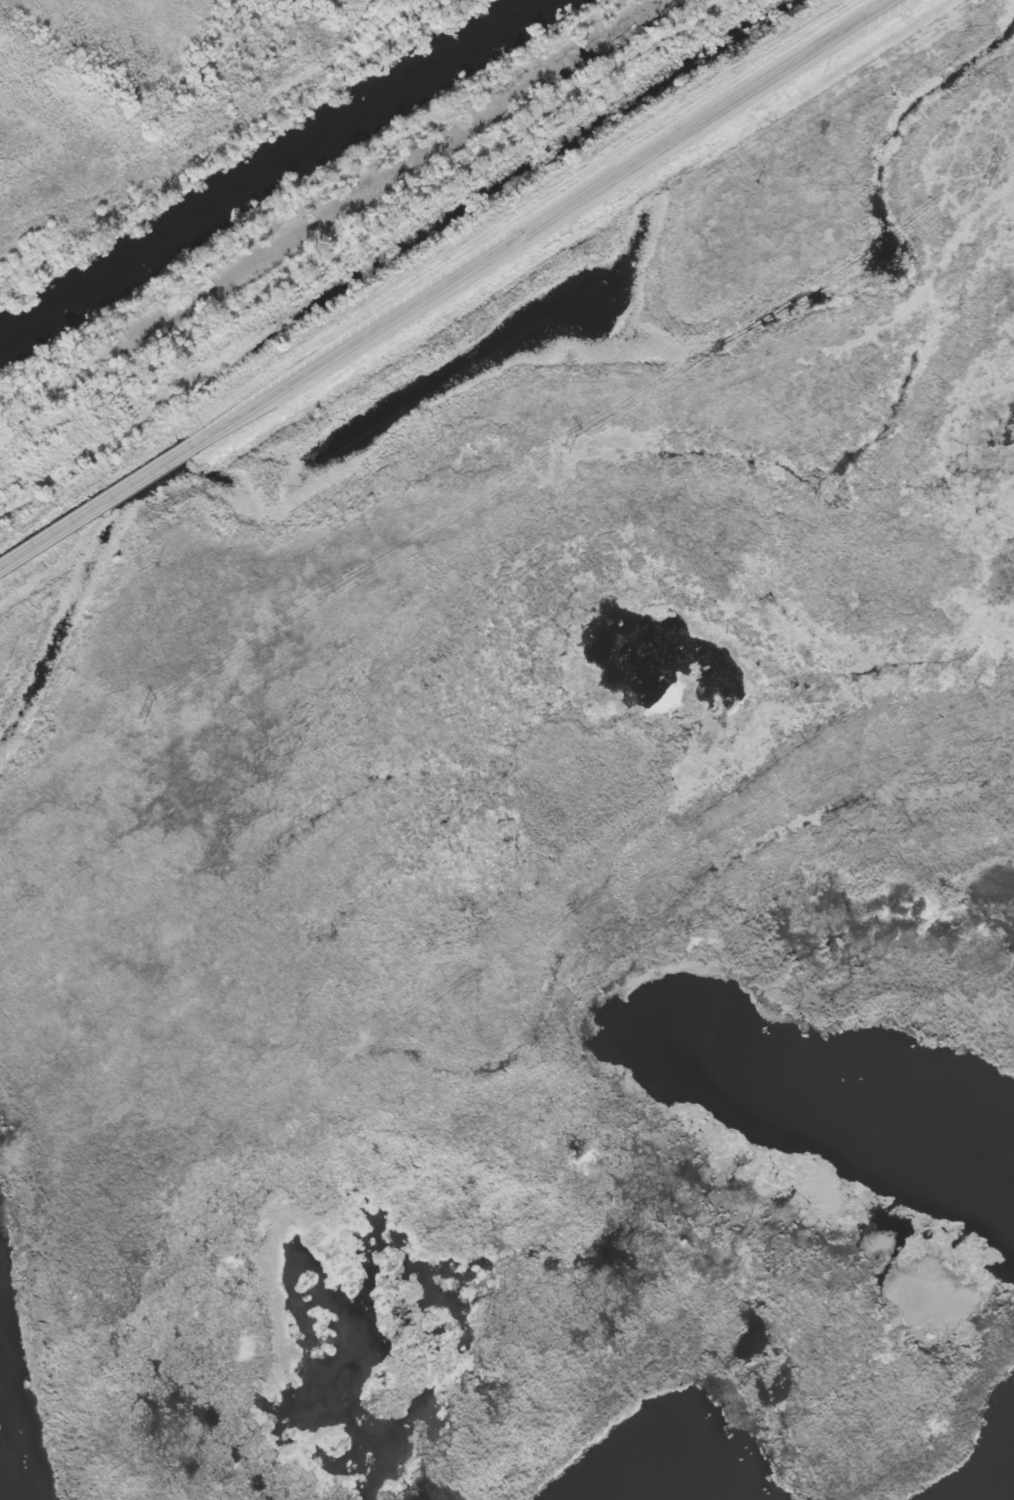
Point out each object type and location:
power tower: (986, 181)
road: (543, 222)
power tower: (566, 450)
road: (97, 505)
power tower: (141, 720)

